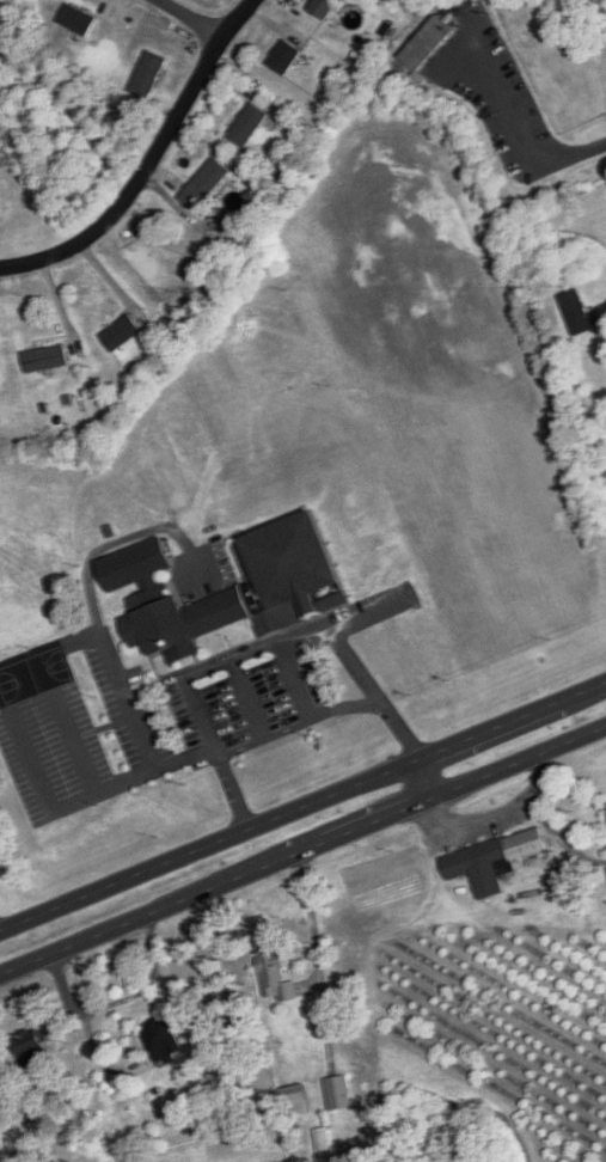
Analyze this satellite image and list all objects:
building: (323, 7)
road: (188, 19)
building: (79, 20)
building: (428, 44)
building: (286, 57)
building: (149, 74)
building: (252, 120)
road: (522, 133)
road: (148, 161)
building: (206, 184)
building: (579, 313)
building: (122, 334)
building: (47, 359)
building: (0, 379)
building: (293, 588)
road: (87, 595)
road: (256, 653)
road: (299, 724)
road: (75, 744)
road: (426, 777)
road: (82, 800)
road: (304, 807)
road: (304, 850)
building: (494, 861)
road: (313, 923)
building: (276, 970)
road: (120, 999)
building: (163, 1038)
building: (33, 1047)
building: (341, 1091)
building: (298, 1103)
building: (324, 1139)

